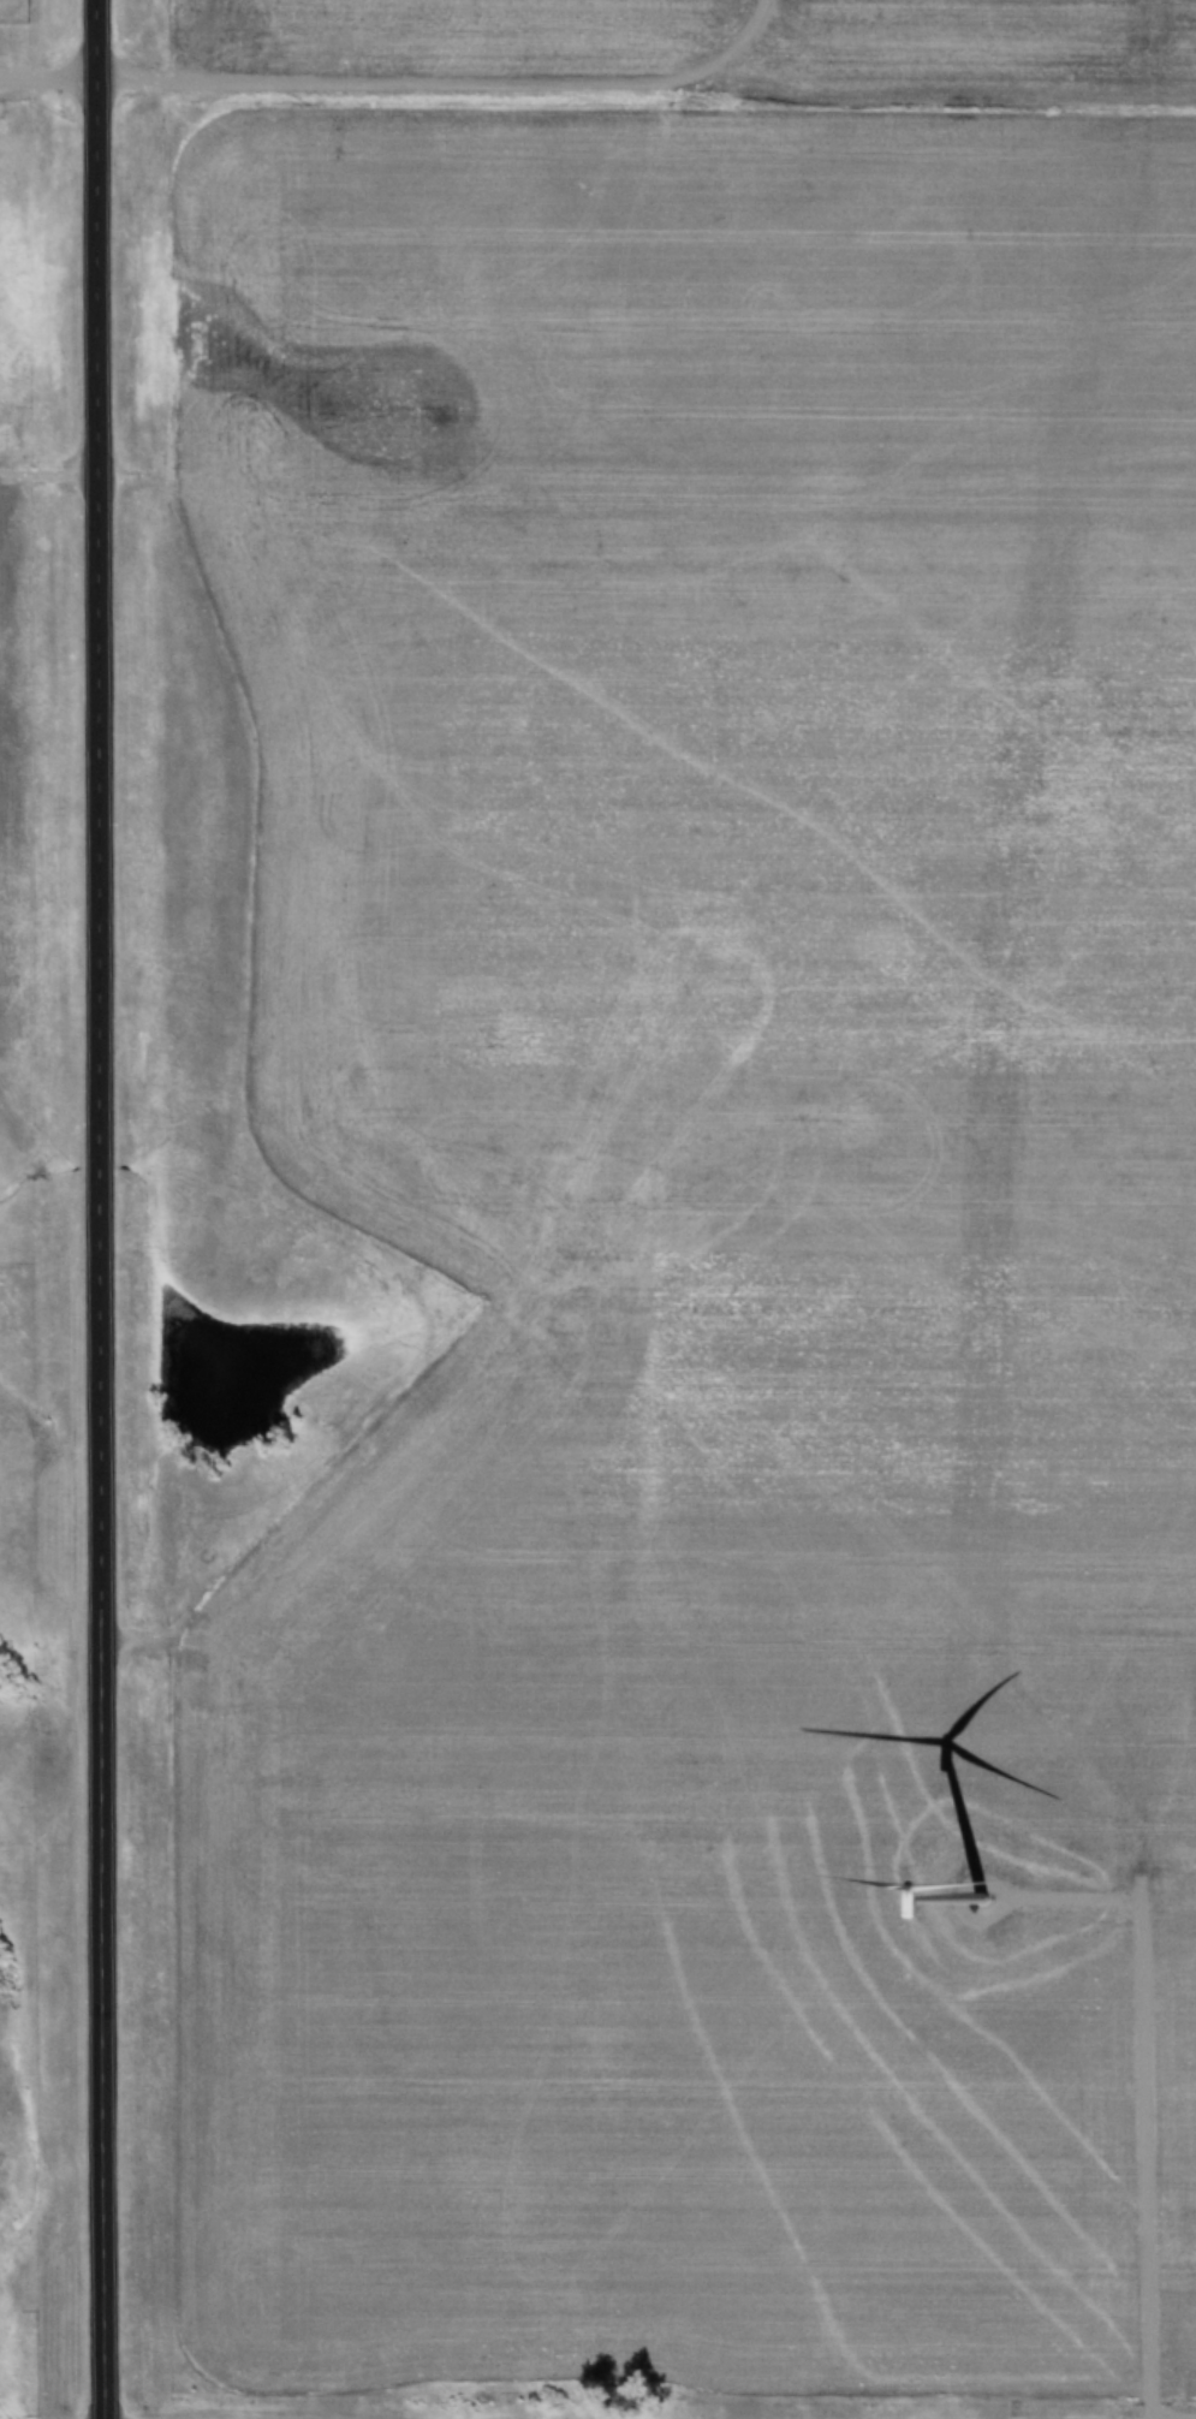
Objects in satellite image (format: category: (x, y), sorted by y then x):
road: (54, 73)
road: (456, 81)
road: (113, 1209)
wind turbine: (963, 1901)
road: (1140, 2104)

